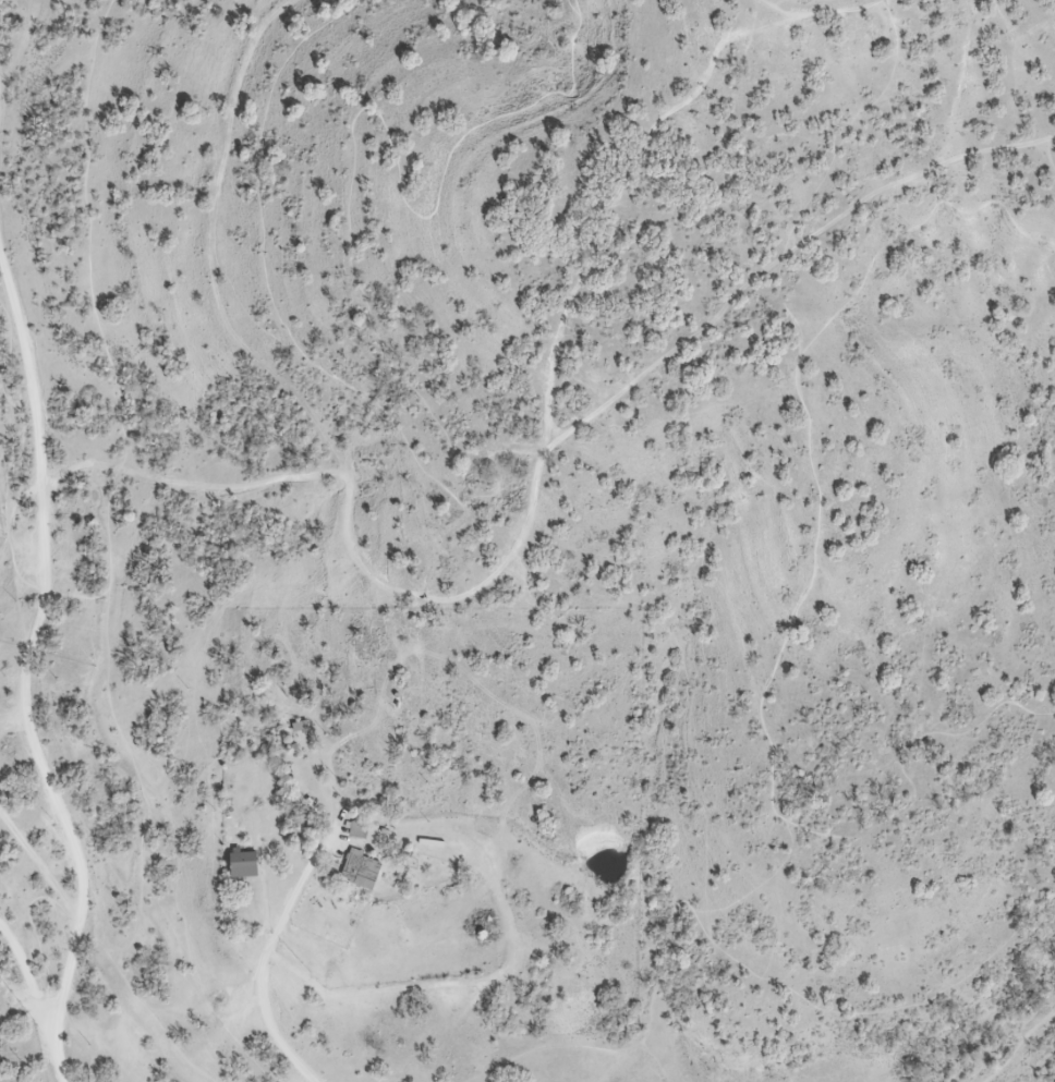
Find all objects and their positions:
road: (781, 9)
road: (838, 10)
road: (229, 123)
road: (1052, 139)
road: (1050, 155)
road: (627, 194)
road: (89, 234)
road: (362, 294)
road: (277, 389)
road: (8, 497)
road: (535, 497)
road: (110, 562)
road: (777, 661)
road: (28, 667)
road: (20, 715)
building: (299, 726)
road: (51, 803)
building: (354, 828)
building: (229, 831)
building: (434, 842)
building: (243, 864)
building: (360, 870)
road: (38, 945)
road: (27, 976)
road: (131, 988)
road: (832, 1008)
road: (21, 1013)

